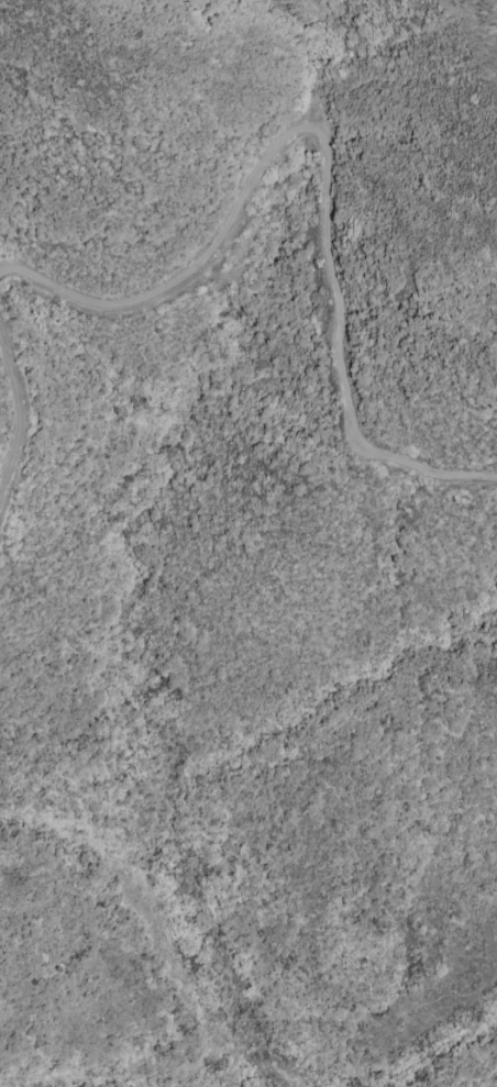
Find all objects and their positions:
road: (330, 159)
road: (16, 419)
road: (443, 1065)

